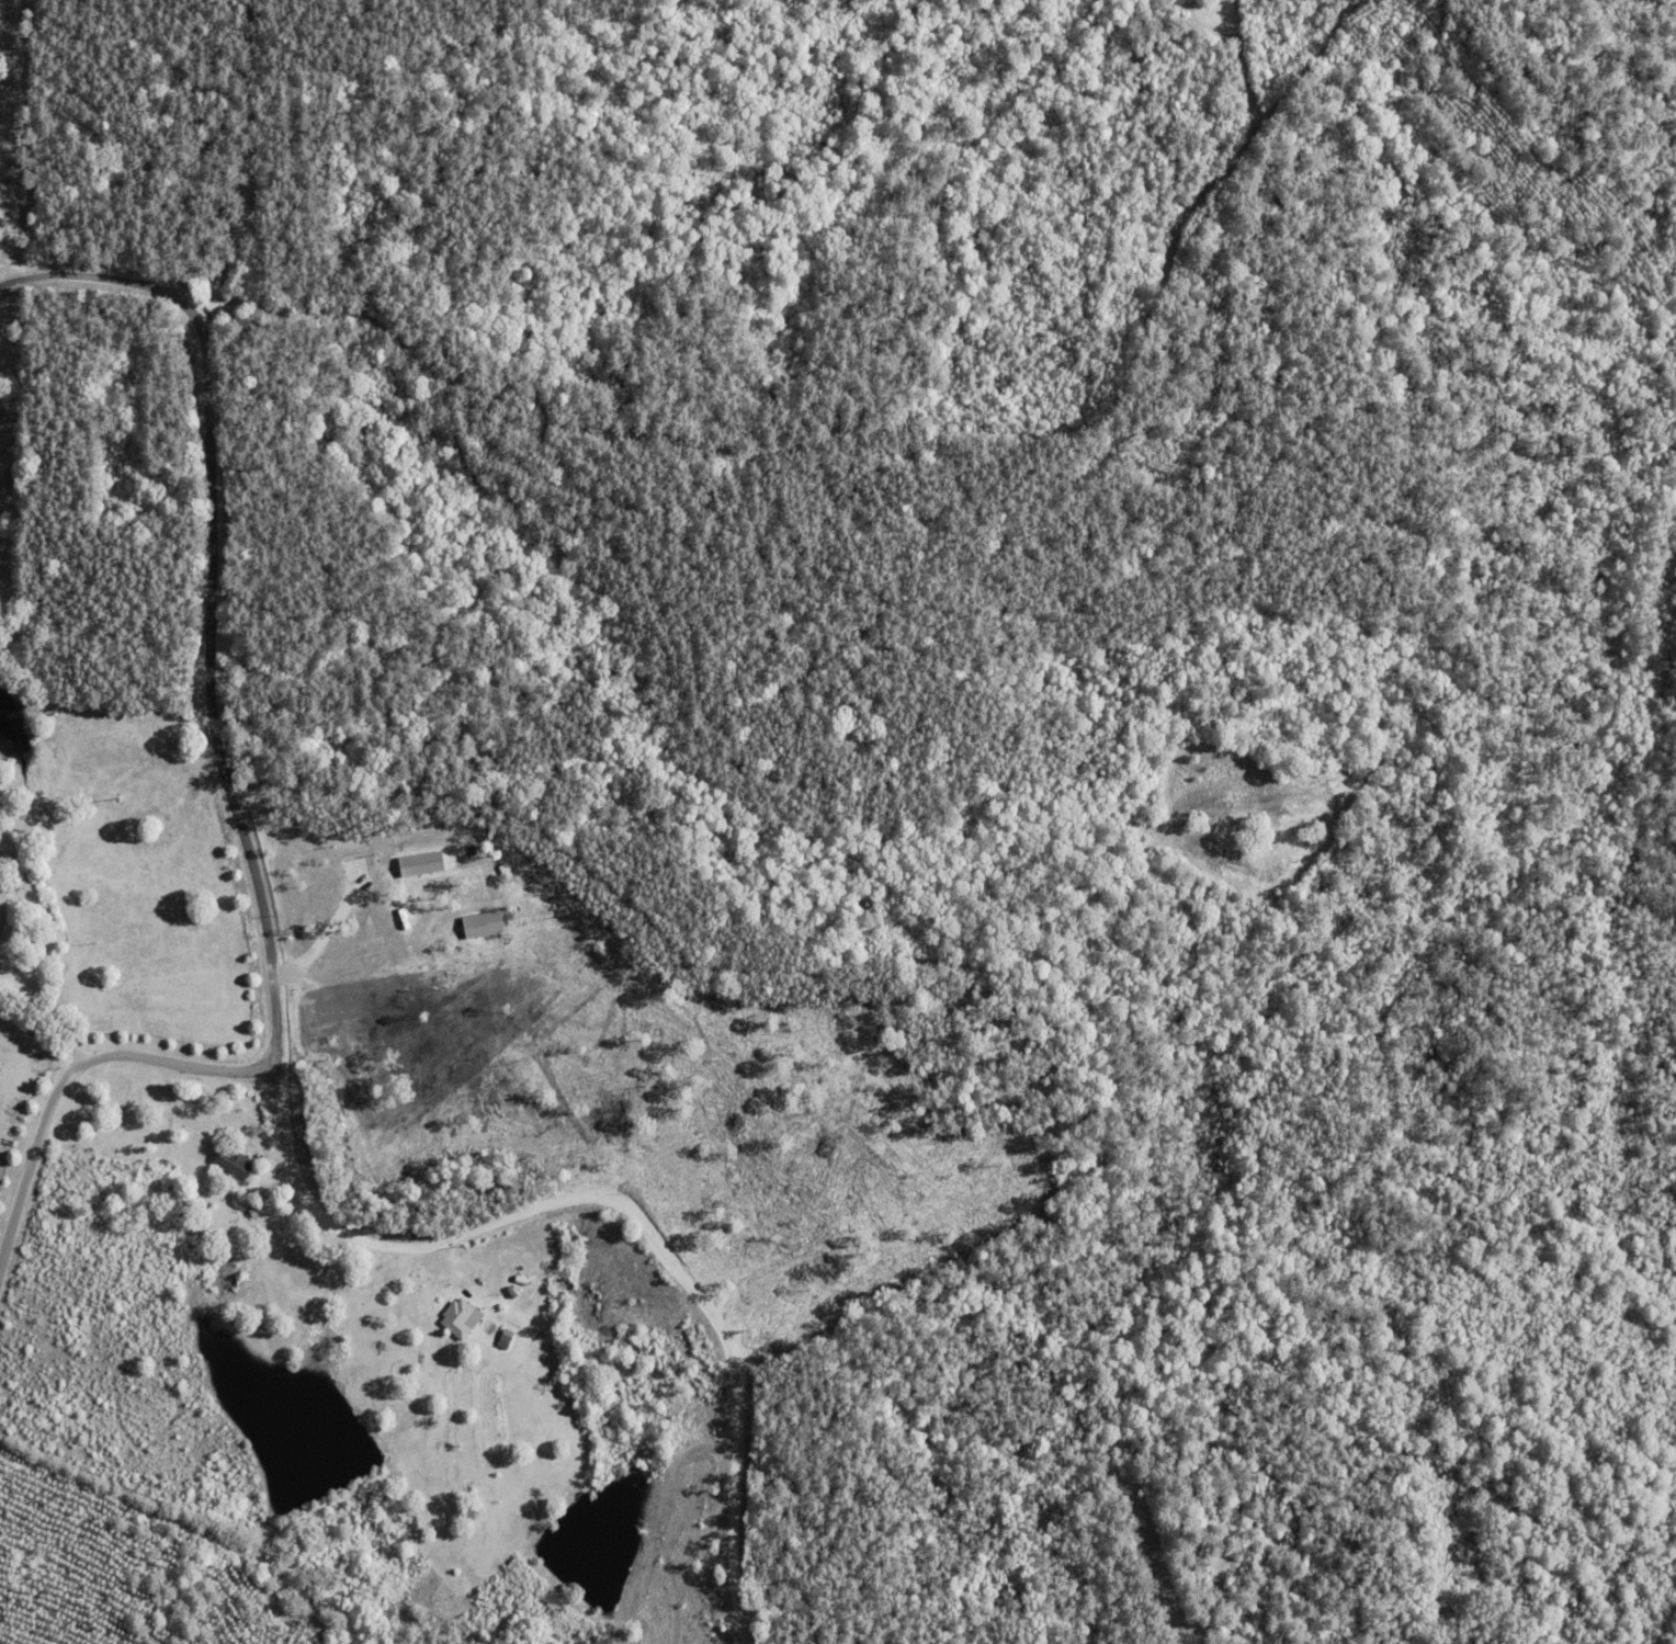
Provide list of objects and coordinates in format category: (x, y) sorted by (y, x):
road: (212, 590)
building: (3, 908)
road: (75, 1072)
building: (230, 1161)
road: (621, 1202)
building: (455, 1317)

